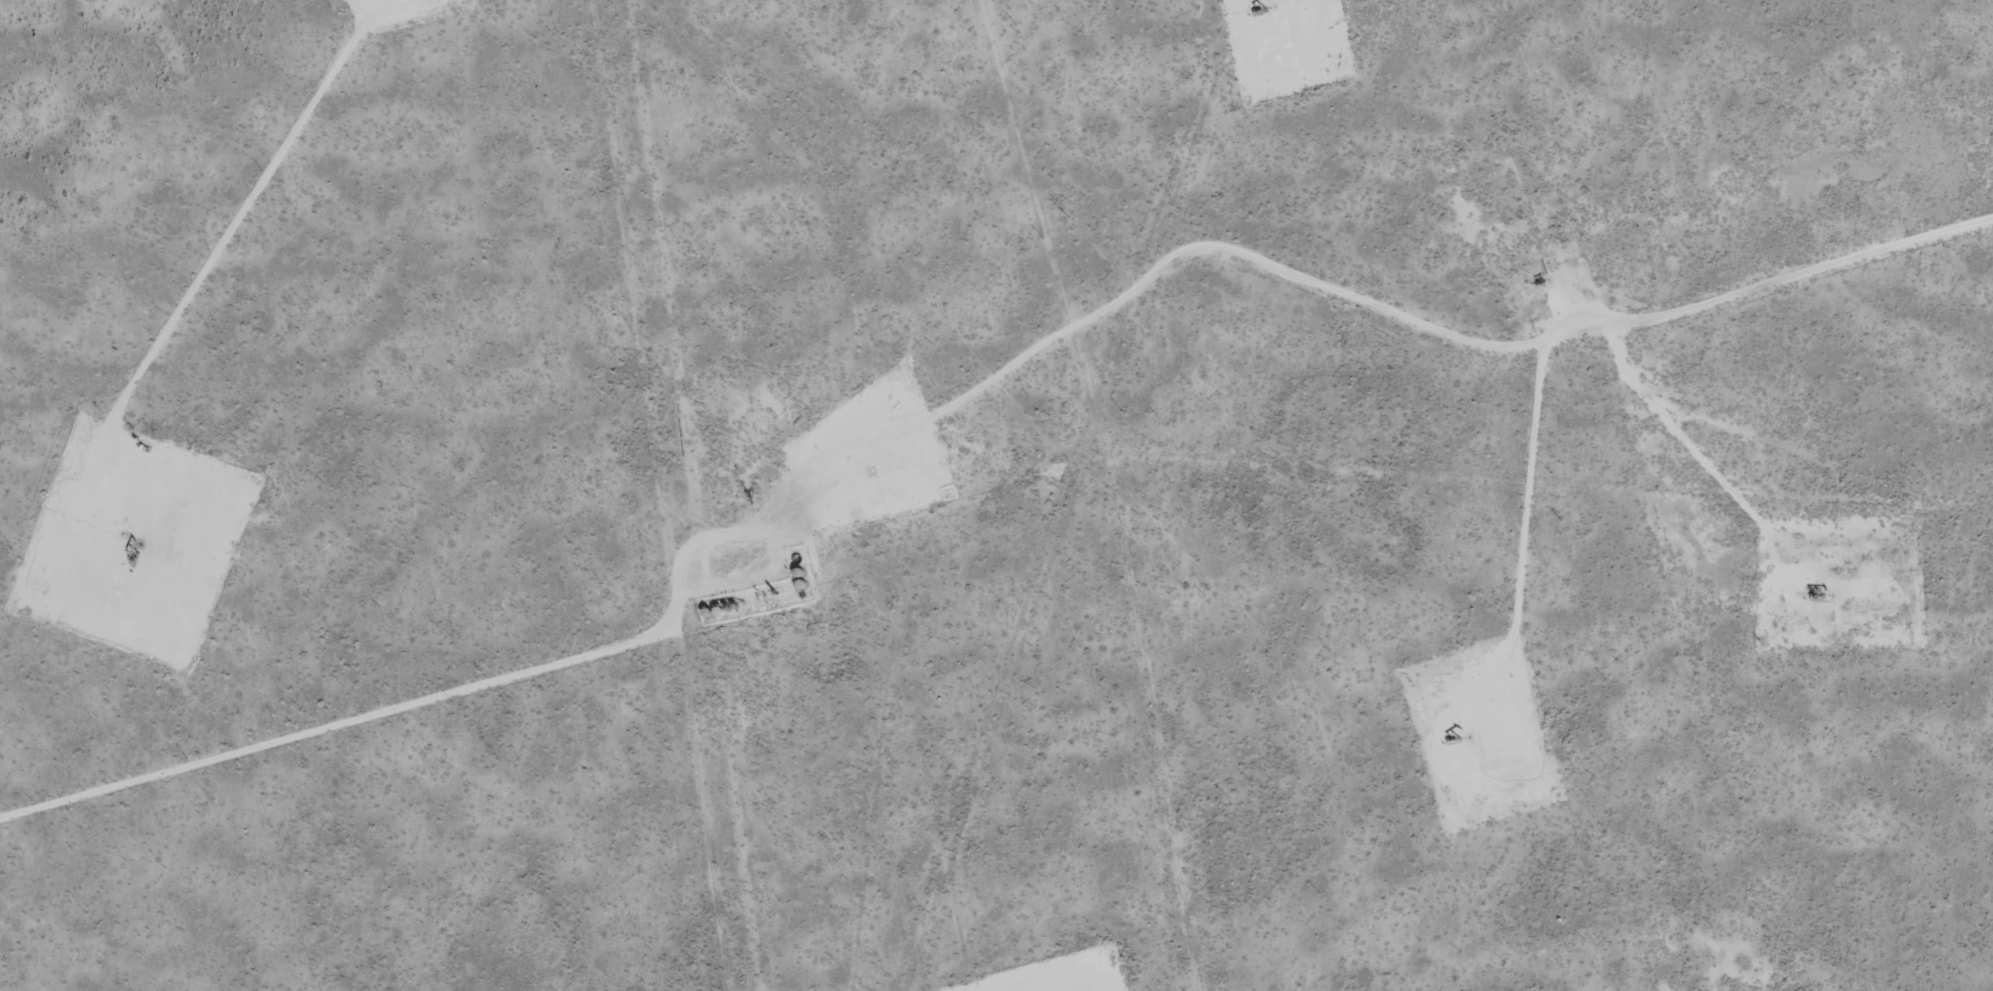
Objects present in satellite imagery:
road: (196, 289)
road: (966, 374)

